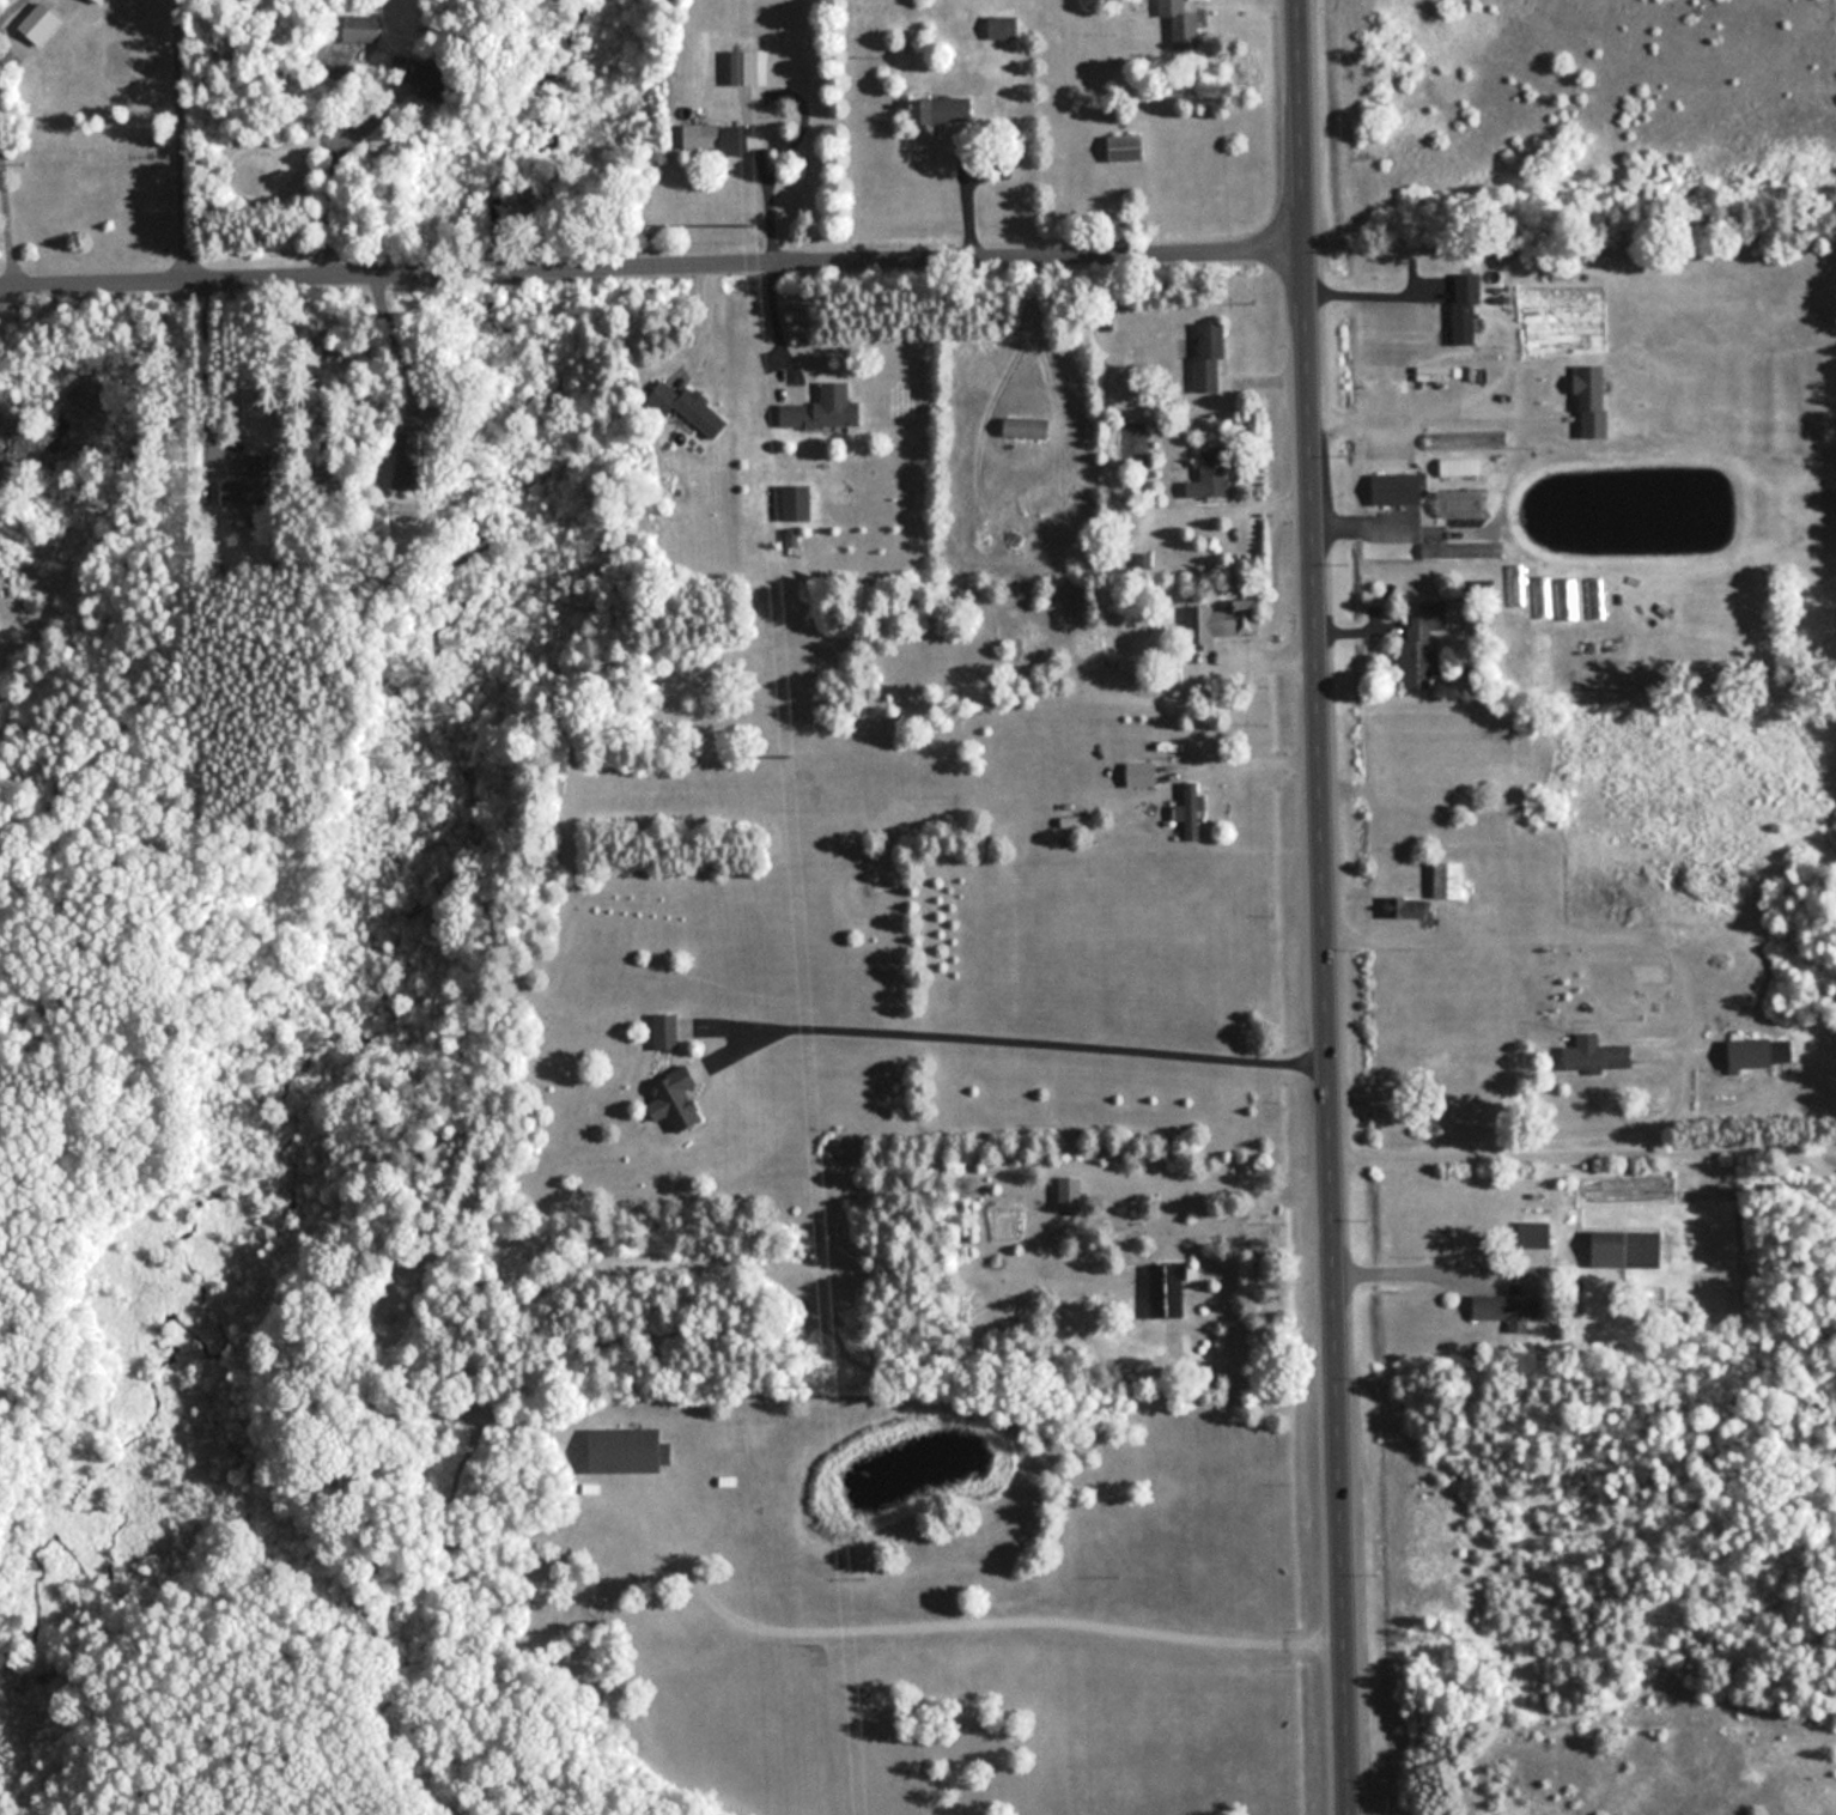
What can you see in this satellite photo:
building: (1181, 25)
building: (1003, 28)
building: (352, 29)
building: (747, 67)
building: (938, 111)
park: (1566, 119)
building: (716, 138)
road: (181, 142)
building: (1126, 147)
road: (758, 196)
road: (966, 199)
power tower: (753, 223)
road: (652, 271)
building: (1465, 308)
road: (773, 332)
building: (1209, 357)
road: (1267, 380)
building: (1594, 400)
building: (825, 408)
building: (693, 411)
building: (1027, 426)
building: (403, 461)
building: (1461, 467)
building: (1211, 473)
building: (244, 485)
building: (1398, 488)
road: (1260, 502)
building: (1452, 503)
building: (1461, 550)
building: (1515, 584)
building: (1542, 596)
building: (1595, 596)
building: (1567, 597)
building: (1221, 621)
road: (1355, 631)
building: (1423, 644)
building: (1109, 650)
road: (1257, 658)
power tower: (789, 755)
road: (1248, 763)
building: (1143, 773)
building: (1192, 811)
building: (1449, 880)
road: (1323, 906)
building: (1410, 907)
road: (1388, 937)
building: (667, 1031)
road: (1013, 1037)
building: (1762, 1052)
building: (1598, 1056)
park: (107, 1069)
building: (676, 1099)
road: (1583, 1165)
building: (1071, 1194)
building: (1534, 1234)
building: (1629, 1249)
road: (1410, 1269)
building: (1169, 1291)
building: (1501, 1307)
road: (1254, 1359)
power tower: (829, 1385)
building: (627, 1450)
park: (1589, 1583)
road: (978, 1622)

